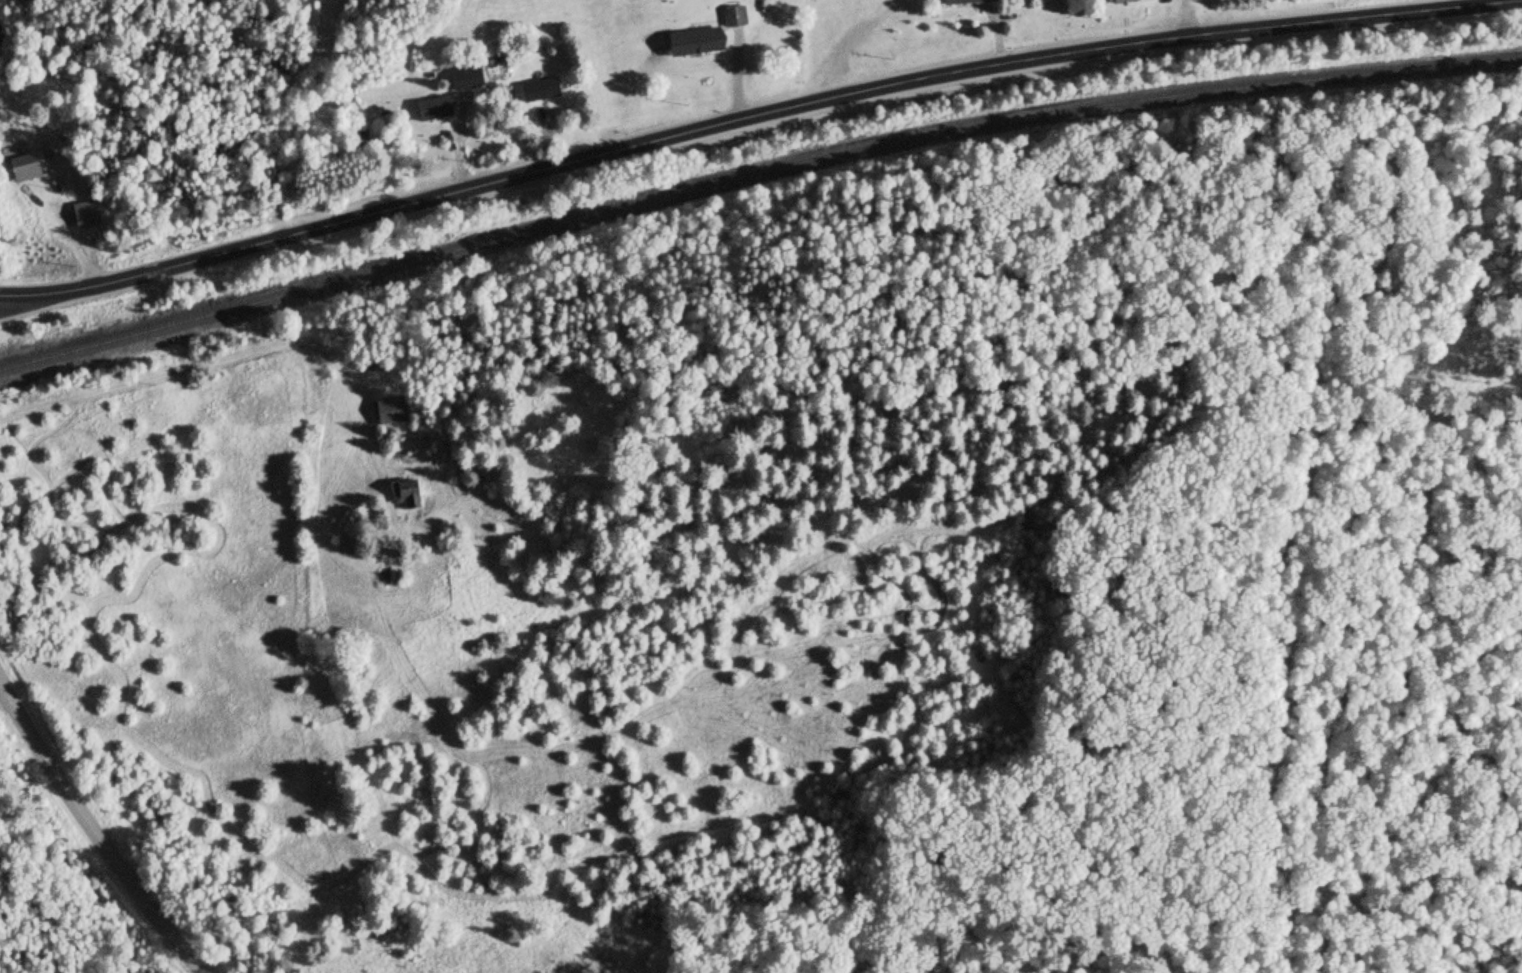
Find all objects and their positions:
building: (965, 1)
building: (1121, 1)
building: (732, 17)
building: (690, 42)
building: (537, 89)
building: (432, 107)
road: (754, 116)
building: (20, 166)
railway: (753, 174)
building: (83, 215)
road: (0, 296)
road: (217, 361)
building: (387, 411)
building: (404, 499)
road: (95, 830)

